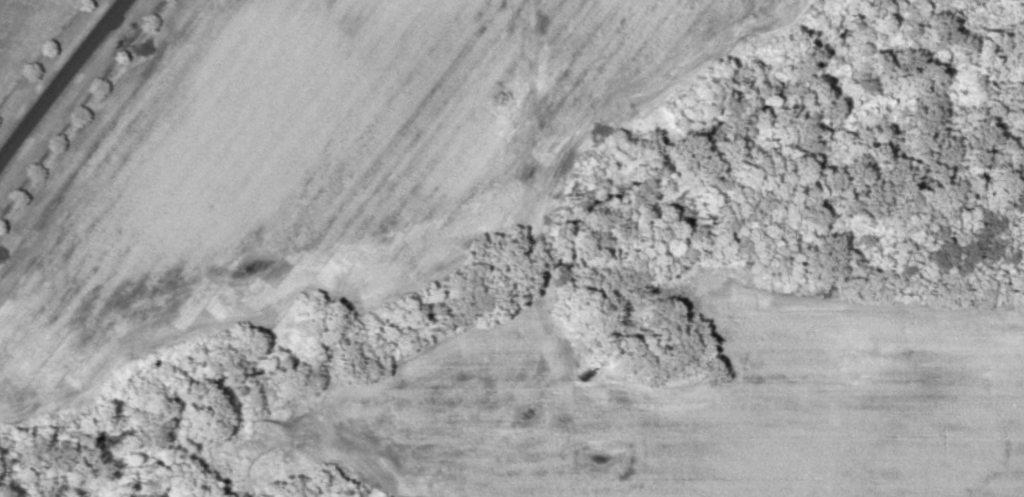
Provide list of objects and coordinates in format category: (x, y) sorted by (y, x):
road: (60, 76)

